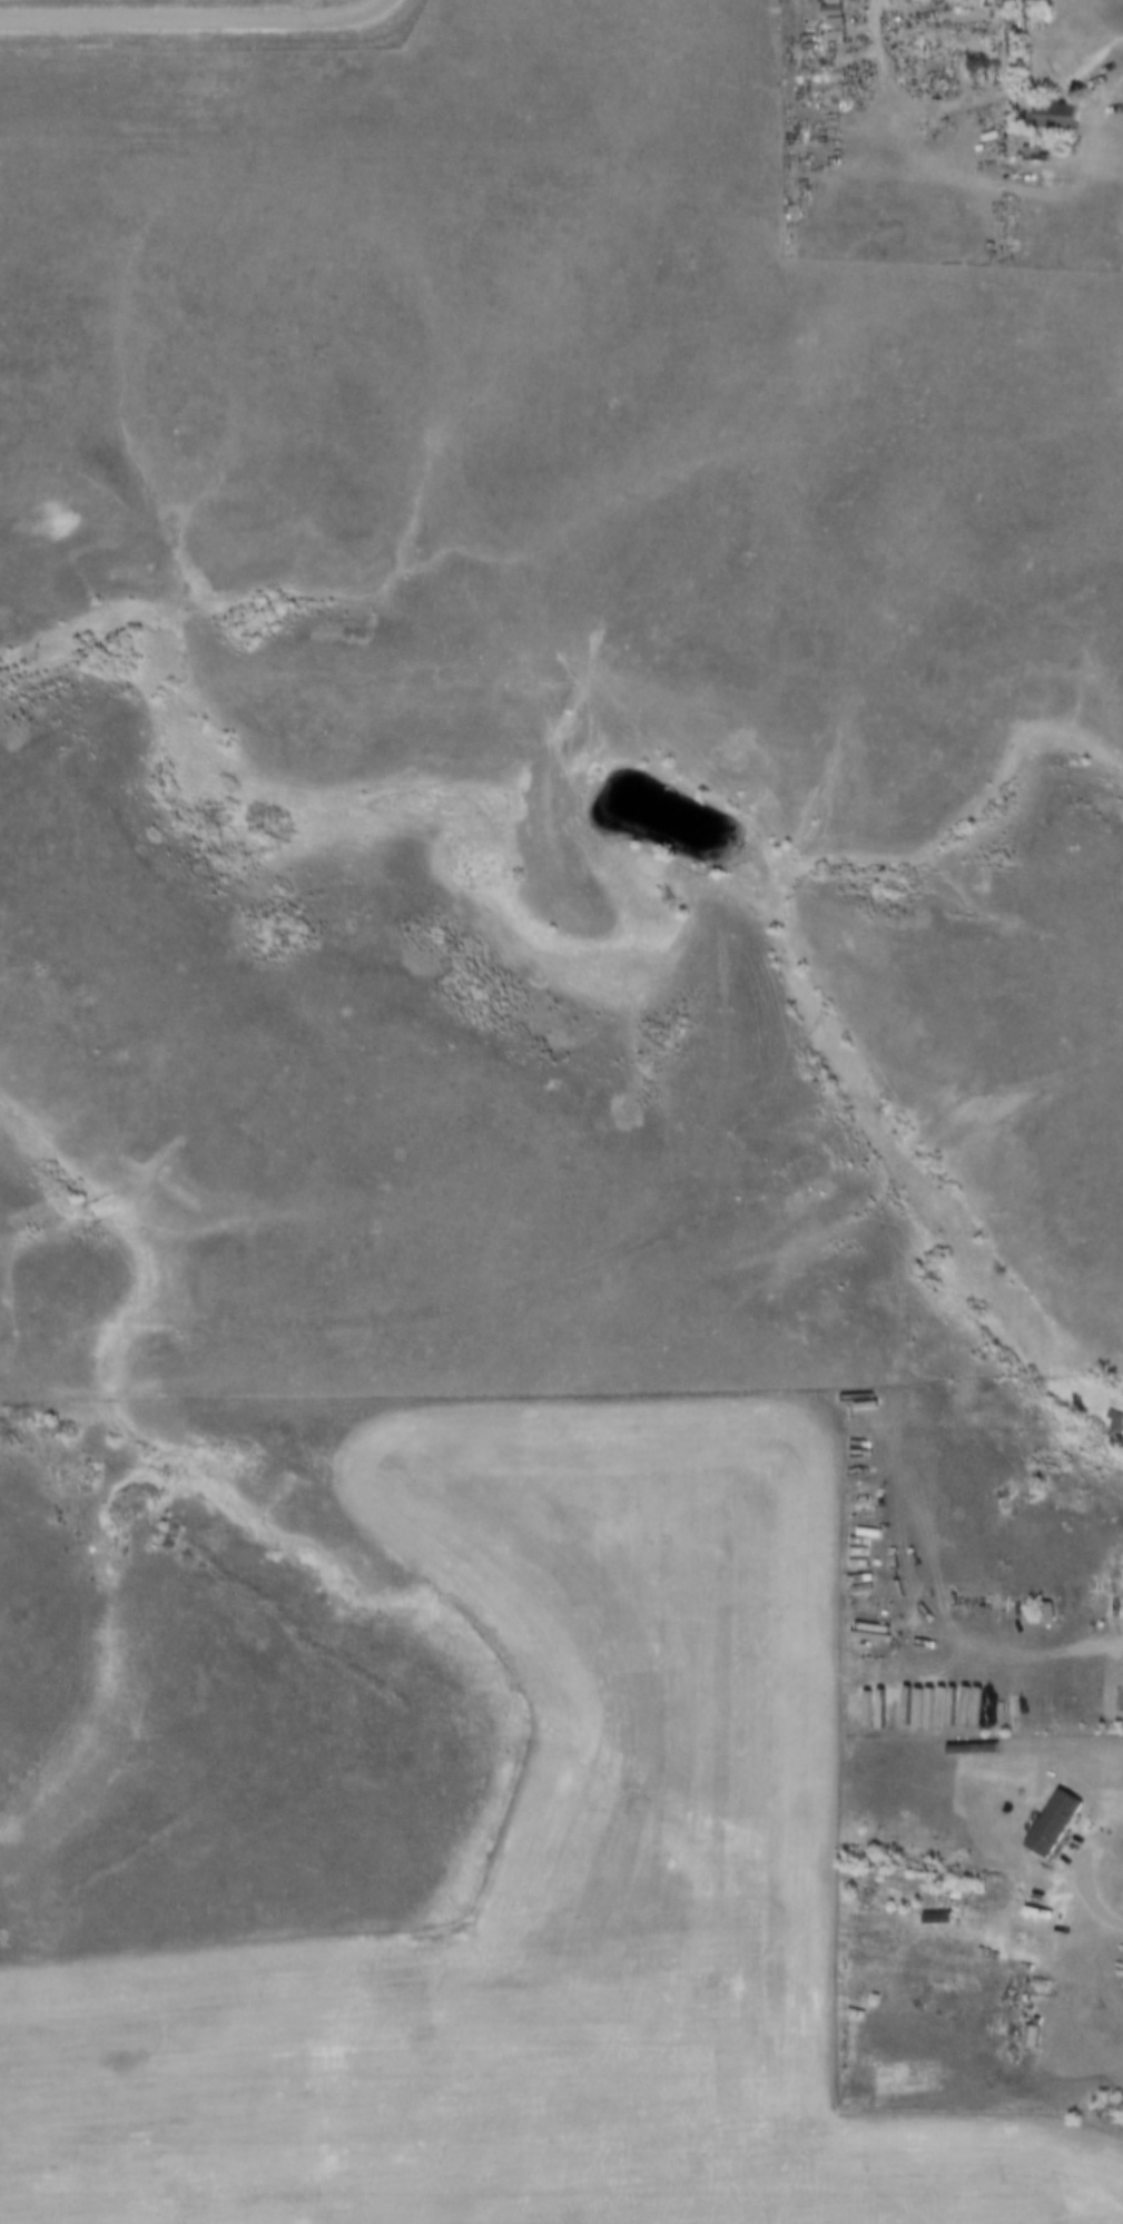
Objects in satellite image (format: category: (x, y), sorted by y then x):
building: (1015, 2)
building: (1042, 2)
road: (1121, 68)
building: (1058, 112)
building: (1114, 1420)
building: (1057, 1820)

